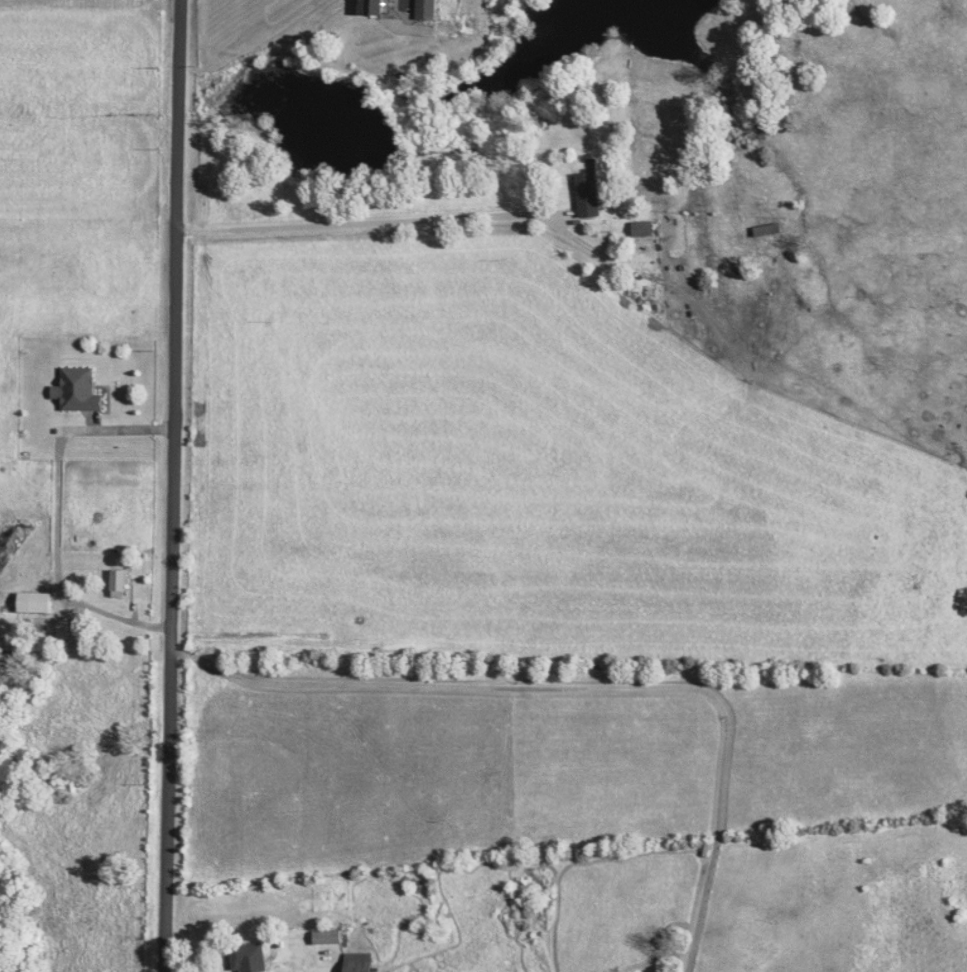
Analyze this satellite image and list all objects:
building: (378, 7)
building: (429, 10)
building: (590, 196)
road: (486, 217)
building: (645, 230)
building: (79, 392)
road: (174, 486)
building: (120, 584)
building: (37, 604)
road: (120, 620)
building: (69, 631)
road: (585, 687)
building: (330, 938)
building: (250, 959)
road: (290, 960)

